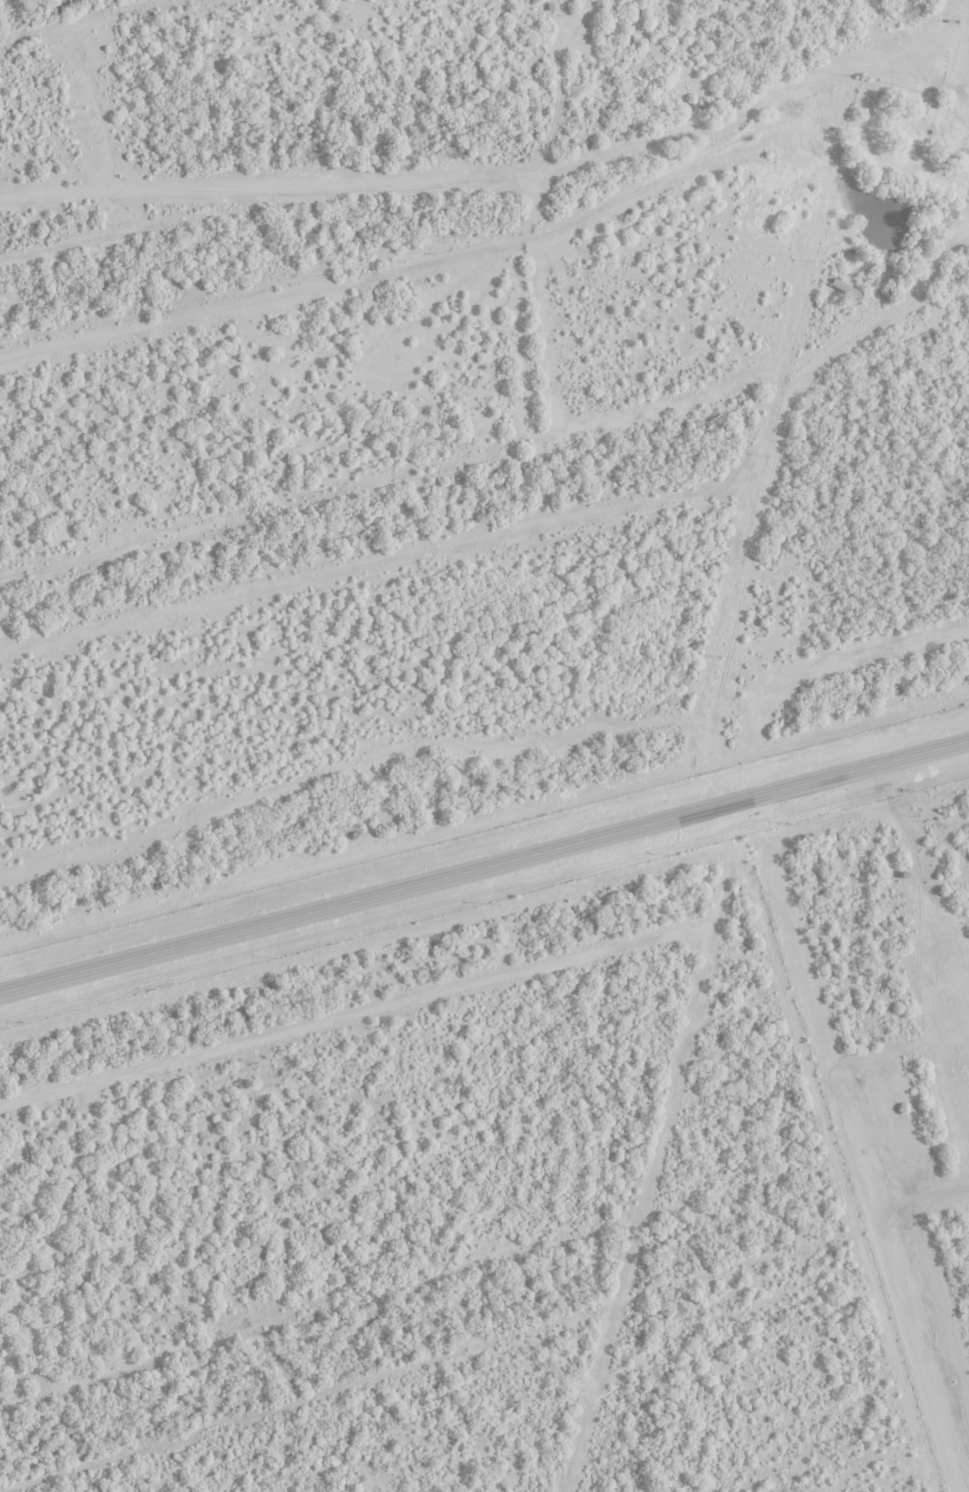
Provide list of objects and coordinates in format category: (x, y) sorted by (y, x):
road: (501, 188)
building: (950, 214)
road: (484, 865)

